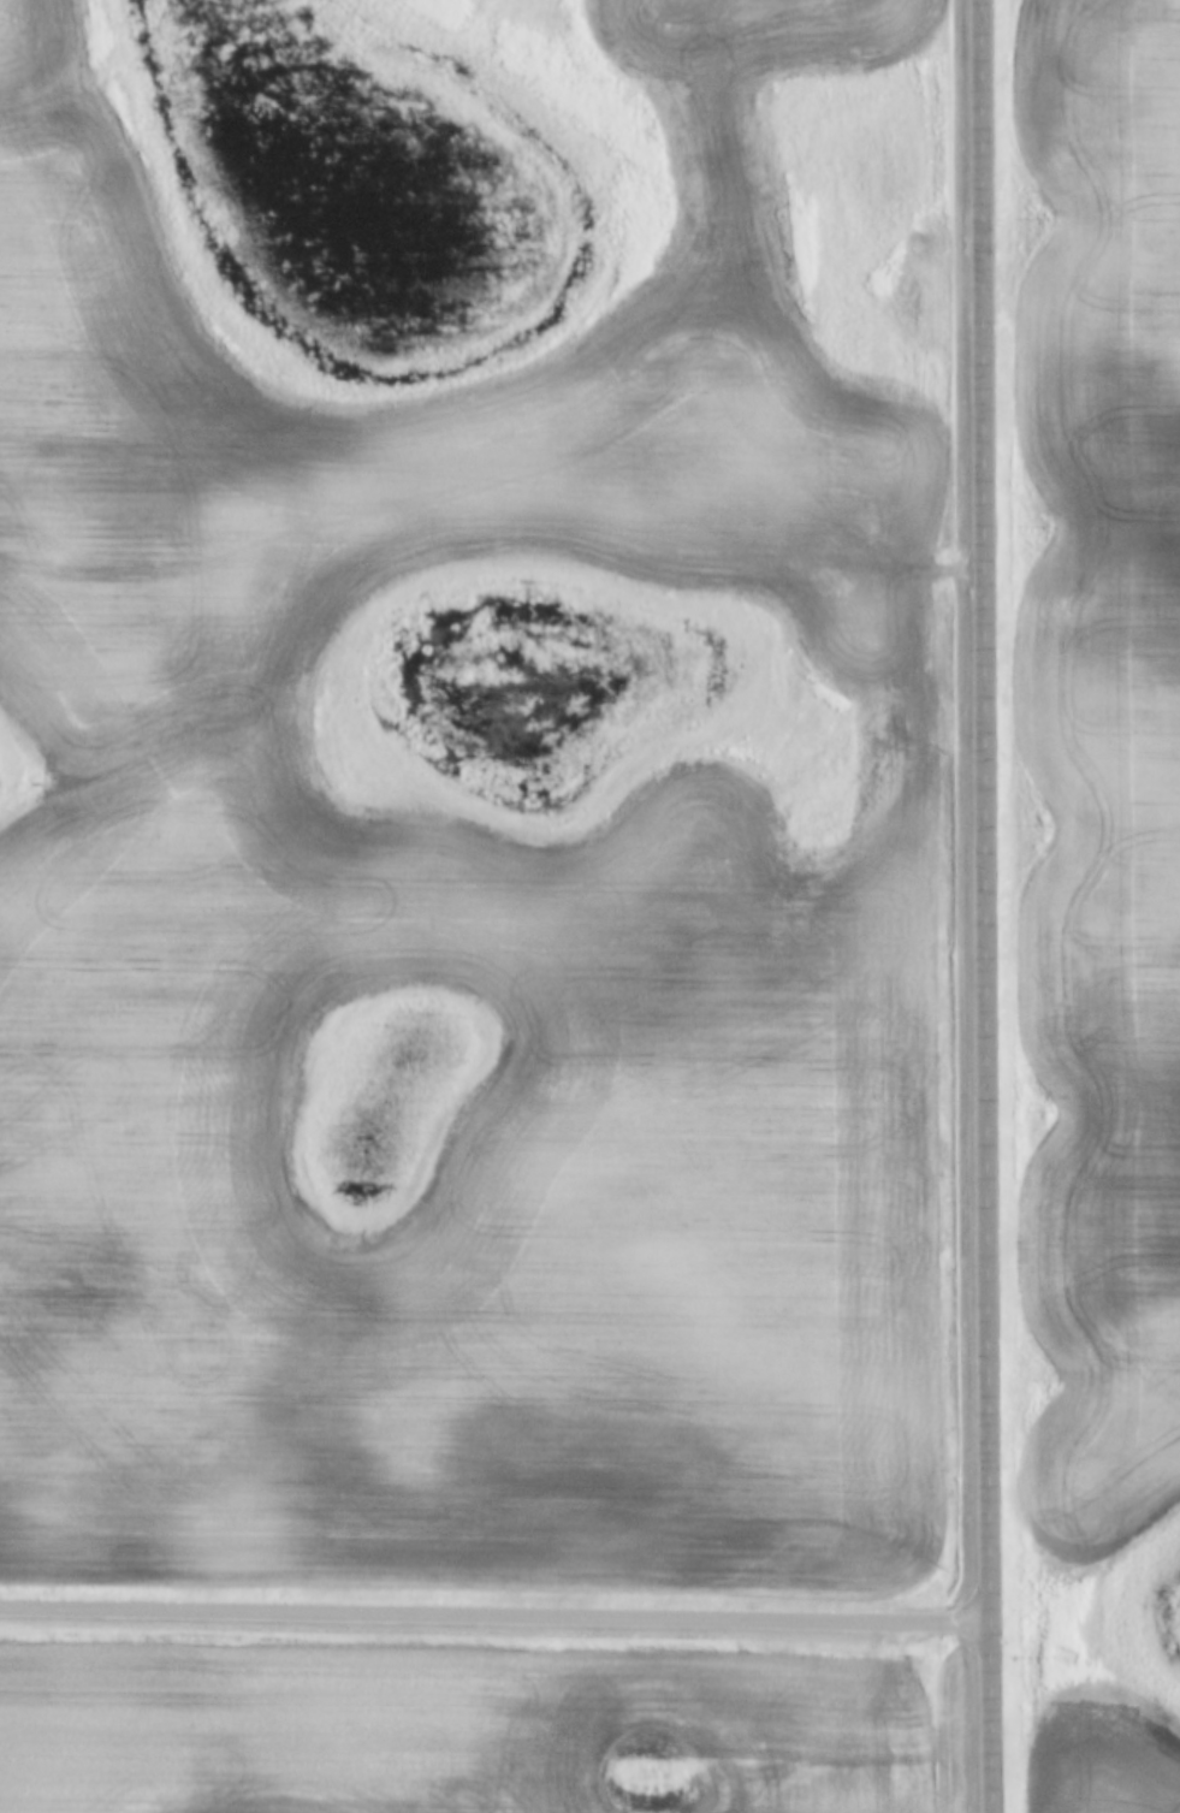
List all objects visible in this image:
road: (992, 906)
road: (496, 1619)

